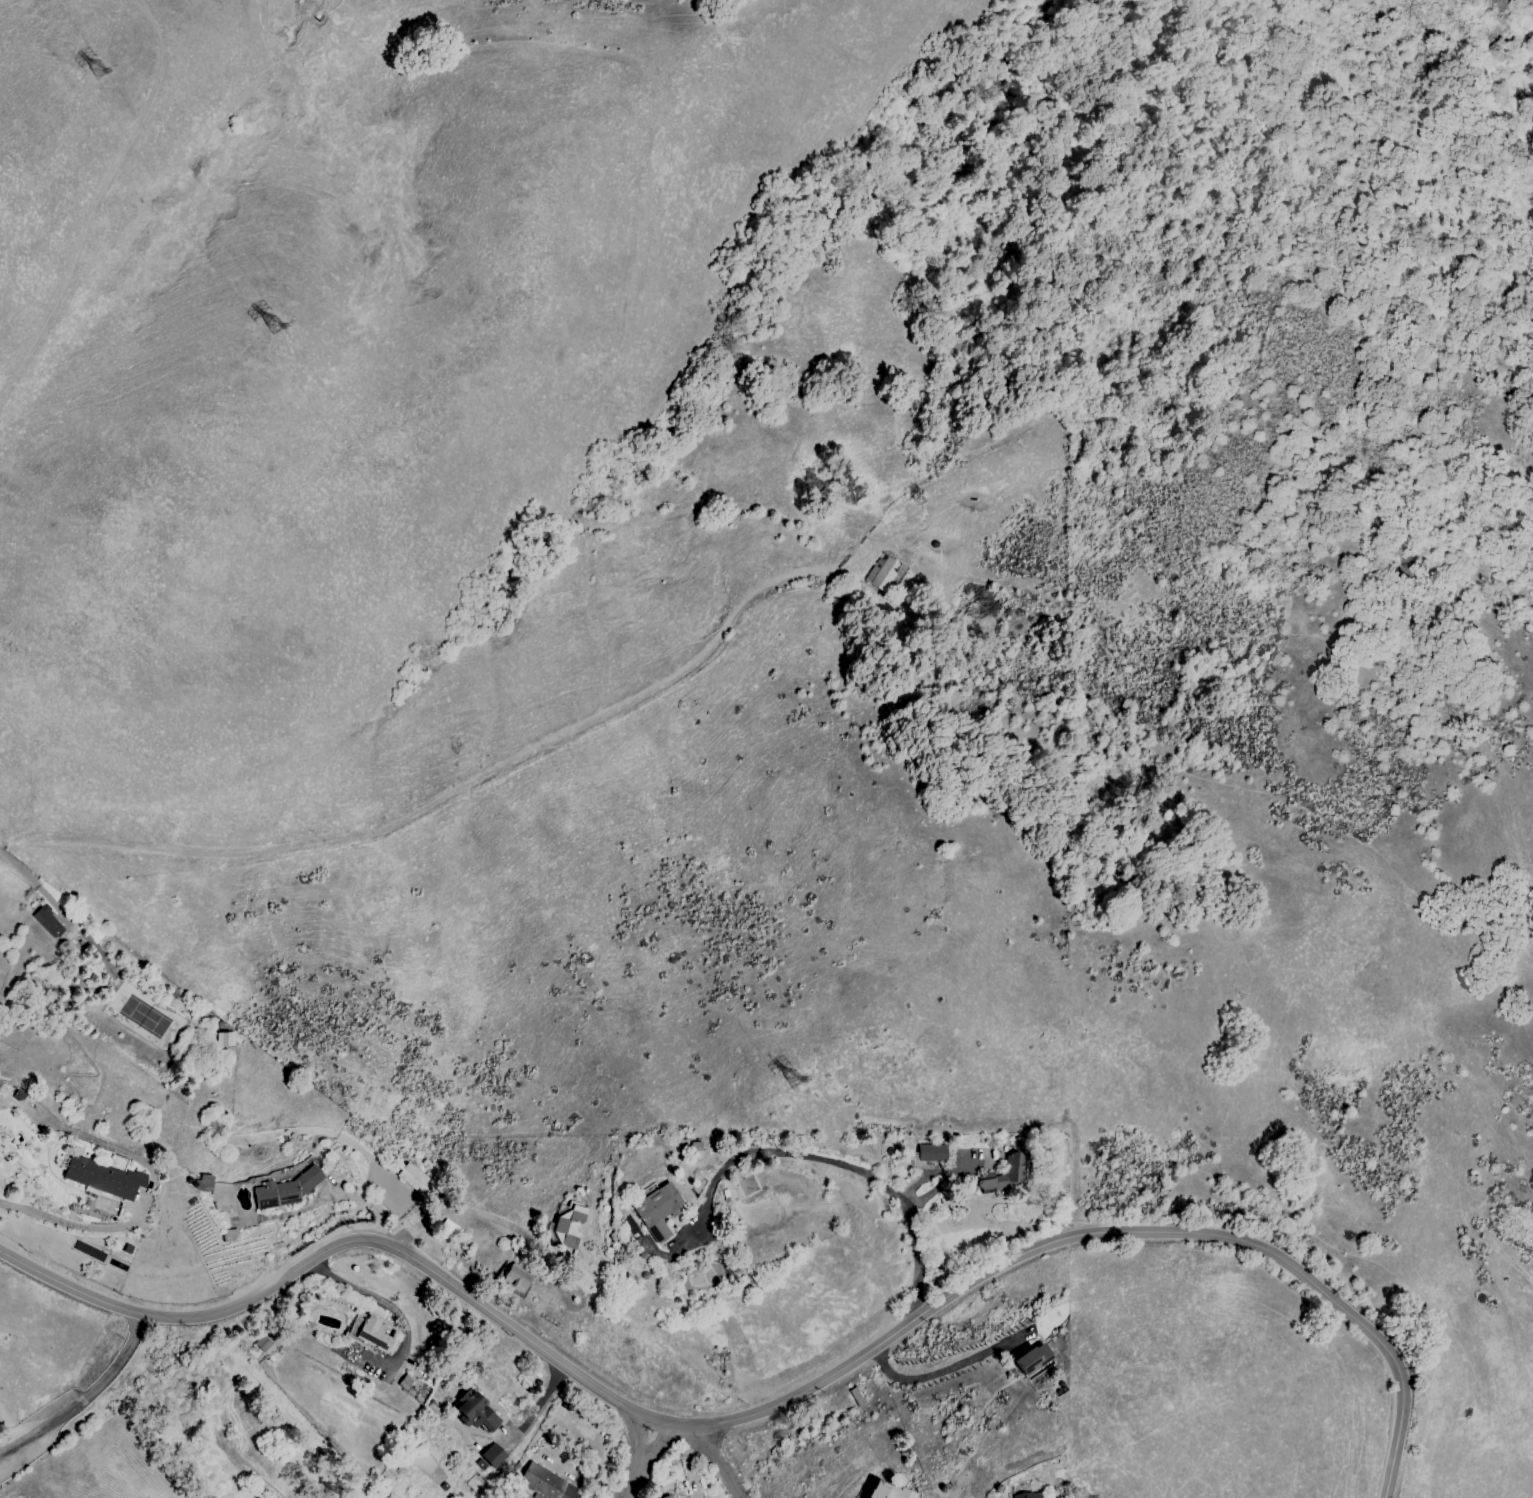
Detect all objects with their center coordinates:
power tower: (91, 75)
road: (96, 200)
power tower: (267, 331)
building: (884, 574)
road: (24, 795)
road: (444, 800)
road: (30, 882)
building: (48, 922)
building: (224, 1039)
power tower: (785, 1085)
building: (932, 1156)
road: (827, 1161)
building: (405, 1179)
building: (1003, 1179)
building: (97, 1180)
building: (282, 1194)
road: (352, 1198)
road: (458, 1210)
building: (655, 1213)
road: (75, 1225)
building: (566, 1232)
building: (516, 1277)
road: (396, 1314)
building: (377, 1332)
building: (262, 1343)
building: (1033, 1359)
road: (938, 1370)
building: (857, 1397)
road: (84, 1400)
road: (535, 1409)
road: (764, 1412)
building: (477, 1413)
road: (11, 1426)
building: (489, 1458)
road: (643, 1463)
road: (719, 1463)
road: (586, 1479)
building: (546, 1483)
building: (889, 1492)
building: (1027, 1496)
building: (668, 1497)

